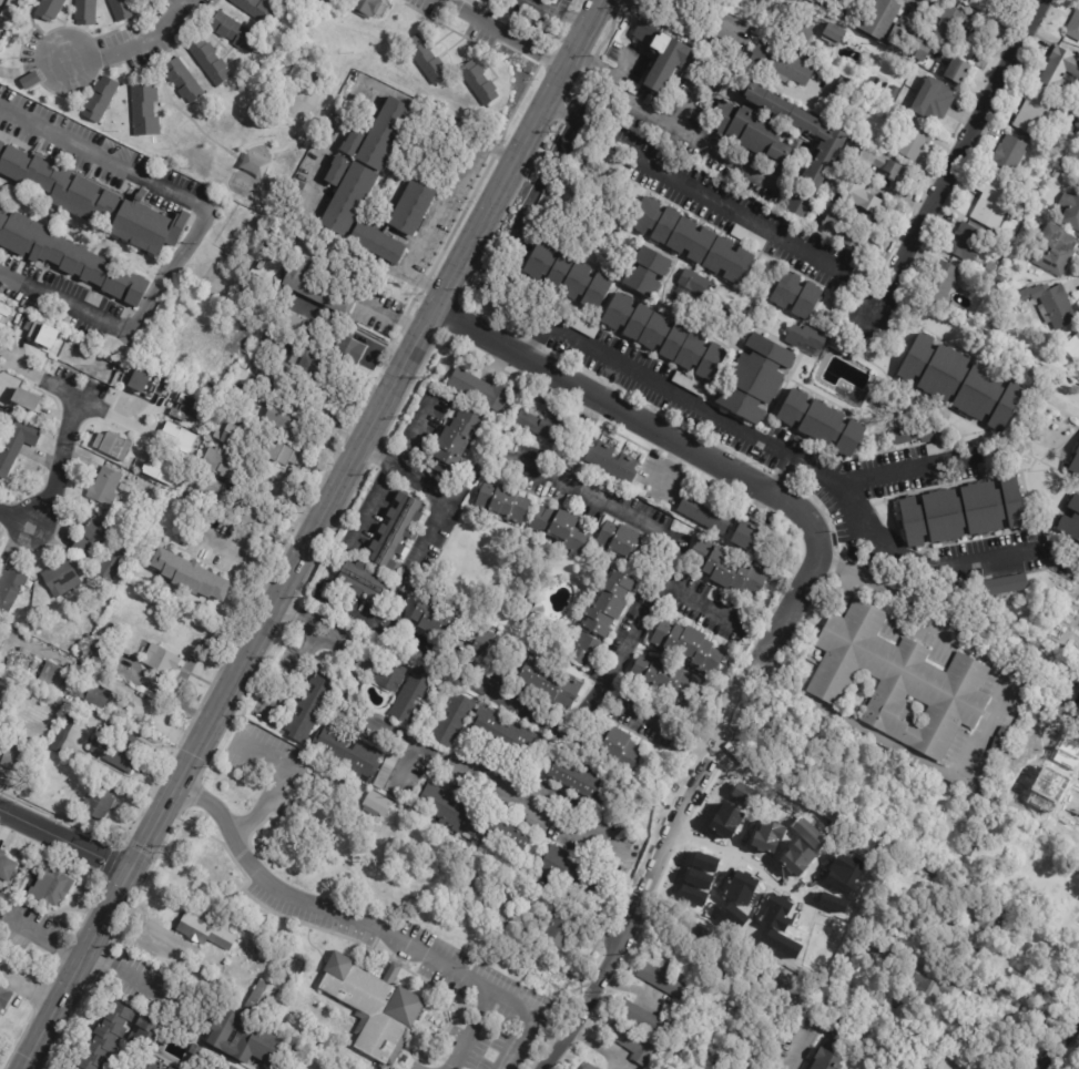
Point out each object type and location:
building: (552, 0)
building: (553, 0)
building: (324, 1)
building: (813, 1)
building: (365, 7)
building: (10, 9)
building: (49, 9)
building: (256, 9)
building: (121, 10)
building: (85, 12)
road: (552, 12)
building: (844, 13)
building: (882, 19)
building: (949, 26)
building: (1073, 26)
building: (797, 30)
building: (831, 31)
building: (234, 32)
road: (495, 35)
building: (910, 43)
road: (713, 44)
road: (135, 50)
building: (662, 57)
building: (210, 60)
building: (426, 60)
building: (774, 61)
building: (1059, 70)
building: (958, 71)
building: (27, 78)
building: (183, 81)
building: (479, 83)
building: (844, 85)
building: (895, 92)
building: (836, 96)
building: (100, 99)
building: (934, 101)
building: (834, 108)
building: (145, 110)
building: (1032, 115)
road: (658, 119)
building: (385, 131)
building: (777, 134)
building: (352, 140)
building: (916, 141)
road: (332, 147)
building: (1009, 156)
road: (955, 162)
building: (252, 163)
building: (336, 167)
building: (882, 167)
building: (1057, 174)
road: (689, 190)
building: (348, 196)
building: (991, 200)
building: (94, 202)
building: (798, 203)
building: (411, 205)
road: (438, 205)
building: (1070, 211)
building: (880, 216)
road: (192, 236)
building: (377, 241)
building: (692, 243)
building: (966, 243)
building: (1055, 252)
building: (68, 258)
building: (990, 271)
building: (648, 275)
building: (567, 277)
building: (1001, 281)
building: (940, 283)
building: (692, 285)
building: (315, 286)
building: (796, 297)
building: (1058, 308)
building: (4, 314)
road: (394, 317)
building: (289, 322)
building: (41, 334)
building: (286, 338)
building: (805, 338)
building: (665, 339)
building: (1076, 343)
building: (347, 347)
building: (312, 360)
building: (1078, 360)
building: (136, 379)
building: (755, 381)
building: (213, 385)
building: (961, 385)
building: (690, 386)
building: (480, 389)
road: (69, 394)
building: (26, 399)
road: (307, 406)
building: (192, 409)
building: (293, 421)
building: (822, 426)
building: (227, 428)
building: (551, 430)
building: (205, 434)
building: (919, 436)
building: (179, 437)
building: (455, 442)
building: (17, 444)
building: (113, 446)
building: (945, 448)
building: (279, 452)
road: (700, 454)
road: (791, 456)
building: (220, 461)
building: (612, 461)
road: (518, 462)
road: (57, 464)
building: (1075, 467)
road: (394, 468)
building: (161, 470)
road: (778, 472)
road: (883, 472)
building: (104, 487)
building: (121, 487)
building: (204, 490)
building: (156, 496)
building: (502, 502)
building: (705, 513)
building: (964, 515)
building: (252, 516)
road: (14, 518)
building: (1071, 521)
building: (561, 528)
building: (400, 533)
building: (749, 536)
road: (309, 537)
building: (622, 543)
building: (81, 551)
road: (252, 556)
road: (1062, 557)
building: (725, 568)
building: (189, 574)
building: (61, 578)
building: (363, 580)
building: (1004, 586)
road: (882, 588)
building: (10, 589)
building: (528, 600)
building: (608, 603)
building: (37, 610)
road: (357, 611)
building: (434, 618)
building: (112, 629)
building: (478, 635)
road: (629, 640)
building: (0, 642)
building: (688, 647)
building: (583, 649)
building: (108, 651)
road: (435, 653)
building: (160, 662)
road: (298, 674)
road: (105, 675)
building: (388, 676)
building: (542, 680)
building: (665, 680)
building: (899, 681)
building: (73, 685)
building: (410, 696)
building: (851, 700)
building: (60, 703)
building: (311, 704)
building: (452, 720)
building: (1004, 731)
building: (505, 735)
road: (407, 746)
building: (995, 747)
building: (14, 751)
building: (125, 751)
building: (621, 752)
building: (346, 753)
road: (400, 767)
building: (385, 772)
road: (276, 780)
building: (579, 781)
building: (110, 782)
building: (944, 791)
building: (99, 803)
building: (377, 804)
building: (448, 810)
road: (674, 829)
building: (627, 836)
building: (507, 838)
road: (63, 839)
road: (739, 847)
building: (968, 849)
building: (995, 865)
building: (6, 867)
building: (1078, 869)
park: (400, 872)
building: (930, 873)
building: (571, 874)
building: (51, 886)
building: (986, 919)
road: (367, 923)
building: (559, 925)
building: (193, 926)
building: (222, 937)
building: (877, 953)
road: (763, 963)
road: (129, 970)
building: (665, 983)
road: (596, 985)
building: (930, 987)
road: (1012, 995)
building: (261, 997)
building: (3, 999)
building: (374, 1007)
building: (644, 1019)
road: (470, 1029)
building: (145, 1032)
building: (843, 1034)
building: (244, 1036)
building: (105, 1037)
road: (1058, 1042)
building: (632, 1043)
building: (320, 1048)
building: (195, 1049)
building: (831, 1057)
building: (296, 1059)
building: (142, 1062)
building: (226, 1065)
building: (589, 1067)
building: (169, 1068)
building: (598, 1068)

